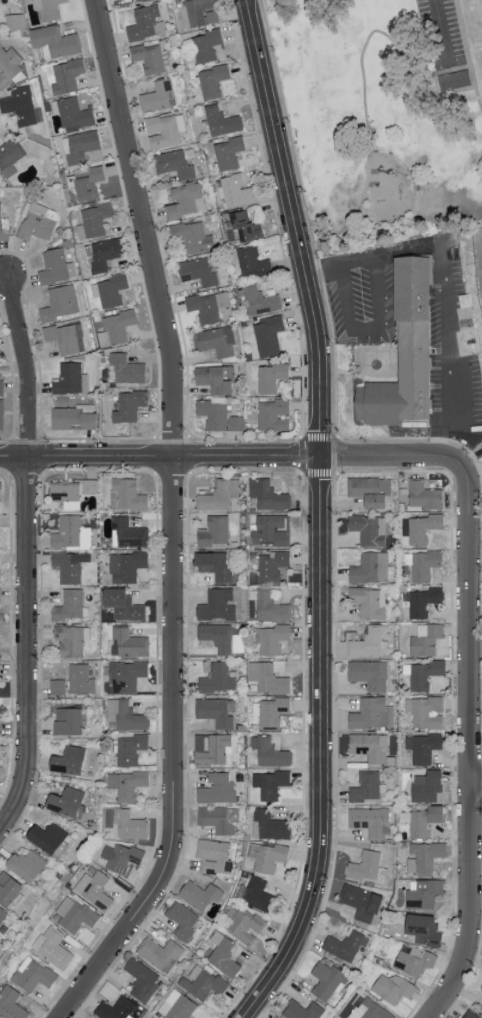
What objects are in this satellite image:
building: (142, 1)
building: (47, 8)
building: (202, 13)
building: (145, 24)
road: (442, 31)
parking lot: (440, 33)
building: (55, 42)
building: (207, 46)
road: (466, 54)
building: (148, 59)
building: (9, 67)
building: (66, 76)
building: (455, 81)
building: (213, 82)
road: (363, 83)
building: (159, 98)
building: (20, 107)
building: (74, 114)
park: (384, 114)
building: (222, 122)
building: (164, 131)
building: (81, 147)
building: (11, 154)
building: (230, 155)
building: (175, 165)
building: (89, 184)
building: (237, 192)
building: (183, 201)
road: (307, 217)
building: (97, 219)
building: (36, 224)
road: (295, 226)
building: (4, 227)
building: (245, 228)
building: (191, 238)
road: (374, 254)
building: (102, 255)
building: (252, 264)
building: (53, 268)
building: (198, 273)
building: (111, 290)
building: (262, 302)
building: (60, 303)
parking lot: (363, 306)
building: (208, 307)
building: (116, 329)
road: (366, 330)
building: (268, 336)
building: (66, 339)
building: (216, 342)
parking lot: (450, 342)
road: (449, 349)
building: (407, 353)
building: (127, 370)
building: (273, 378)
building: (71, 381)
building: (214, 381)
building: (2, 389)
building: (130, 407)
building: (1, 415)
building: (213, 415)
building: (274, 416)
building: (71, 418)
building: (236, 424)
traffic signals: (319, 455)
road: (382, 455)
road: (159, 456)
road: (471, 459)
road: (302, 472)
building: (90, 485)
building: (369, 489)
building: (65, 491)
building: (126, 494)
building: (219, 494)
building: (267, 494)
building: (423, 494)
road: (173, 521)
building: (419, 527)
building: (368, 528)
building: (271, 529)
building: (213, 530)
building: (70, 532)
building: (127, 532)
road: (27, 555)
building: (421, 563)
building: (214, 564)
building: (273, 565)
building: (67, 566)
building: (126, 566)
building: (369, 567)
building: (422, 600)
building: (0, 601)
building: (368, 601)
building: (69, 604)
building: (122, 604)
building: (217, 605)
building: (271, 606)
building: (216, 636)
building: (273, 638)
building: (71, 639)
building: (425, 639)
building: (128, 642)
building: (368, 642)
building: (369, 673)
building: (425, 674)
building: (126, 675)
building: (268, 676)
building: (217, 678)
building: (80, 679)
building: (56, 687)
building: (216, 711)
building: (269, 711)
building: (425, 711)
building: (372, 713)
building: (124, 715)
building: (67, 720)
road: (472, 736)
building: (369, 746)
building: (422, 746)
road: (322, 747)
building: (130, 748)
building: (211, 748)
building: (269, 752)
building: (67, 760)
building: (269, 783)
building: (127, 784)
building: (365, 786)
building: (425, 786)
road: (477, 788)
building: (216, 789)
building: (66, 802)
building: (218, 819)
building: (424, 820)
building: (370, 821)
building: (129, 823)
building: (268, 825)
building: (45, 836)
building: (216, 853)
building: (119, 856)
building: (267, 856)
building: (424, 856)
building: (25, 865)
building: (367, 867)
building: (8, 888)
building: (94, 889)
building: (423, 893)
building: (199, 894)
building: (256, 894)
building: (360, 901)
building: (2, 914)
building: (75, 914)
building: (182, 919)
building: (245, 925)
building: (422, 929)
building: (343, 945)
building: (53, 946)
building: (158, 952)
building: (223, 954)
building: (414, 961)
building: (32, 974)
building: (142, 979)
building: (326, 980)
building: (201, 982)
building: (393, 987)
building: (481, 988)
building: (11, 1003)
building: (176, 1005)
building: (115, 1008)
building: (302, 1010)
building: (370, 1010)
building: (469, 1015)
building: (337, 1017)

